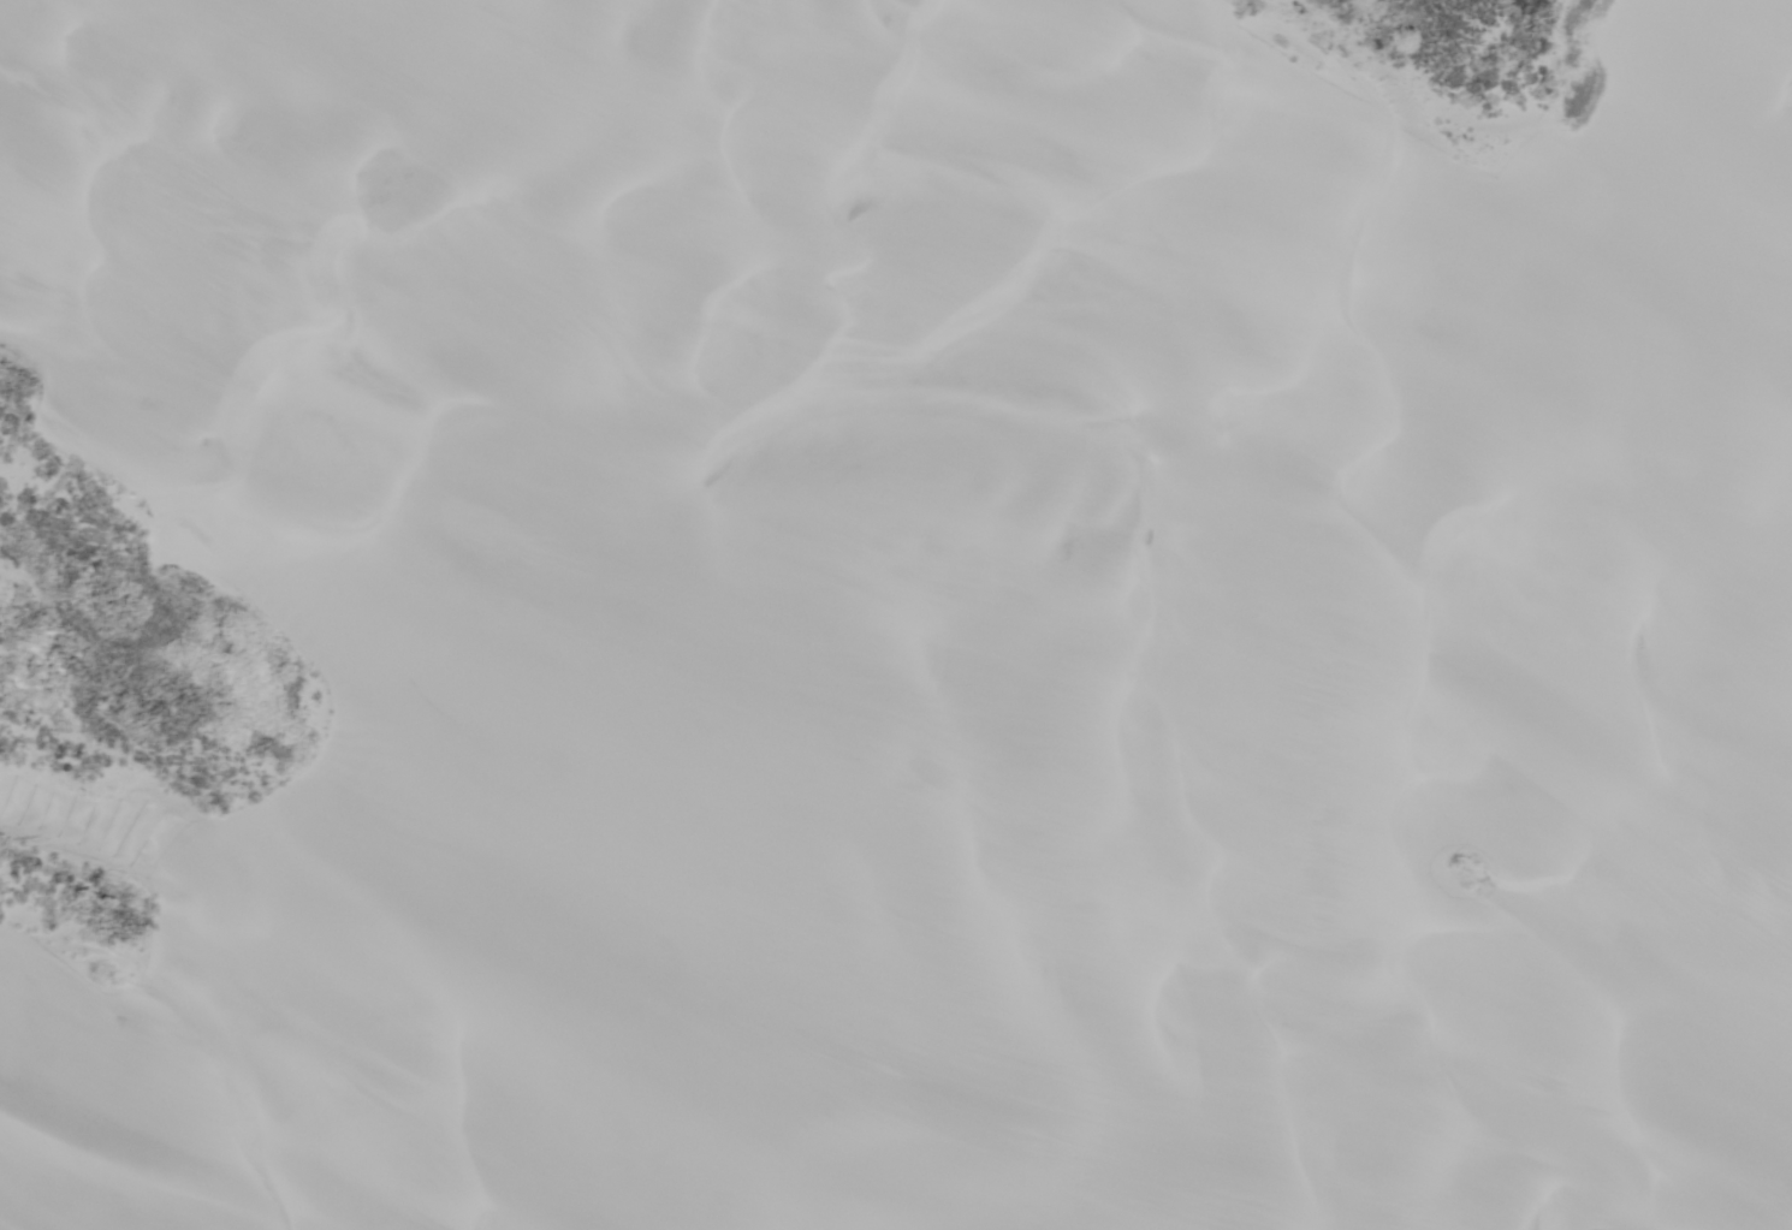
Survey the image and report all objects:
road: (660, 599)
park: (896, 614)

